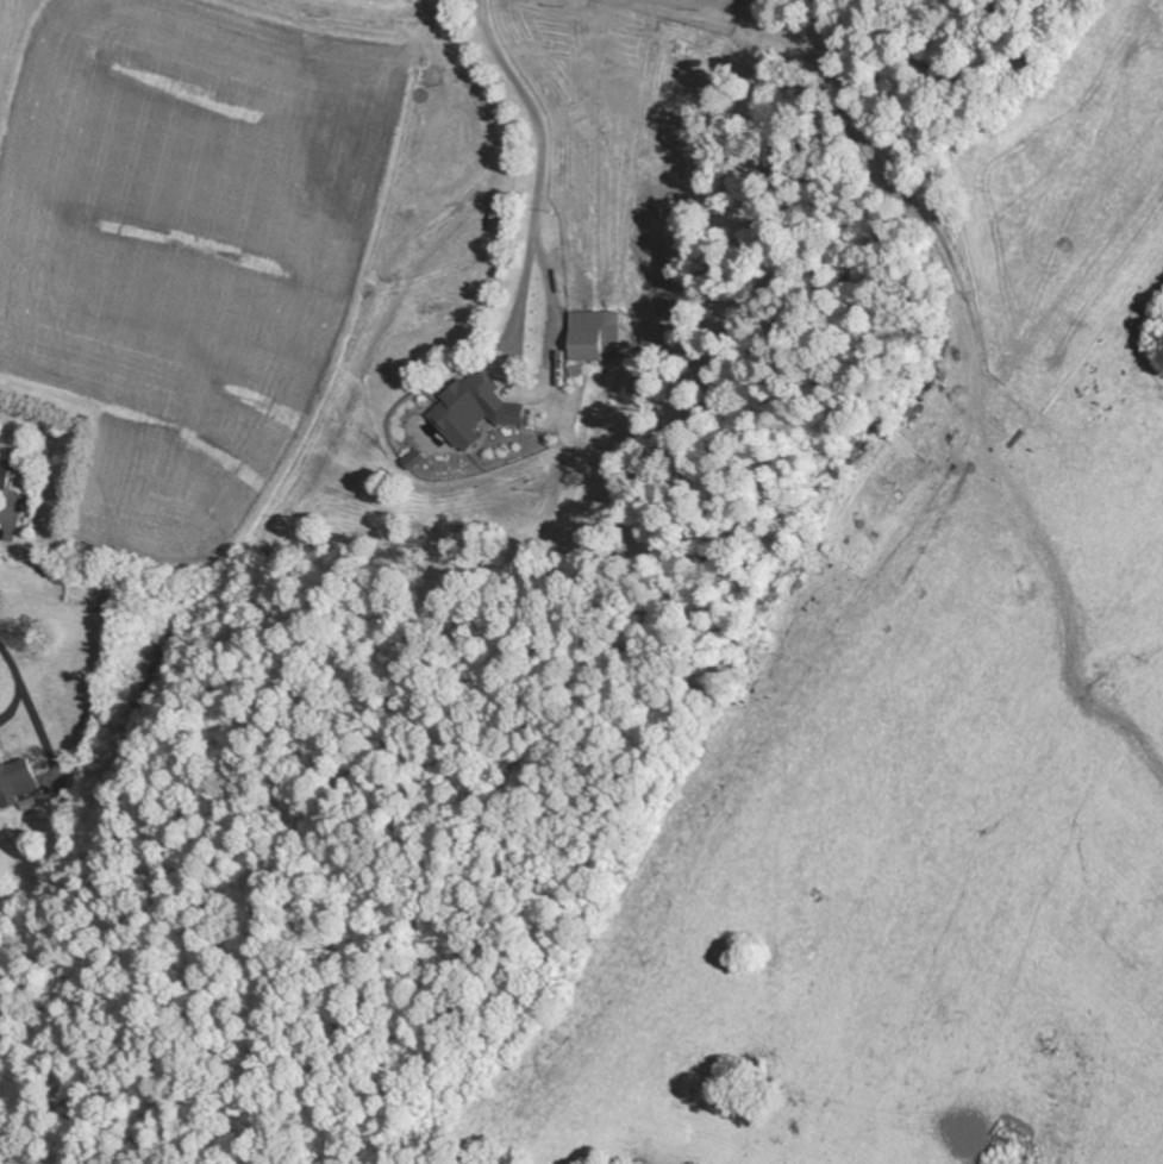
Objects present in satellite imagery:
road: (983, 81)
building: (504, 214)
building: (594, 346)
building: (482, 412)
building: (17, 480)
road: (193, 694)
building: (20, 781)

